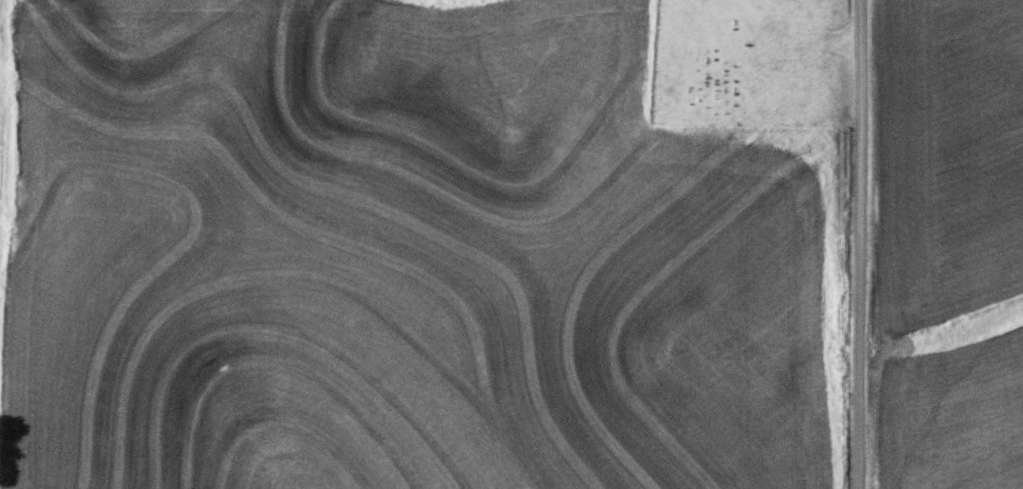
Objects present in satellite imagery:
road: (857, 244)

